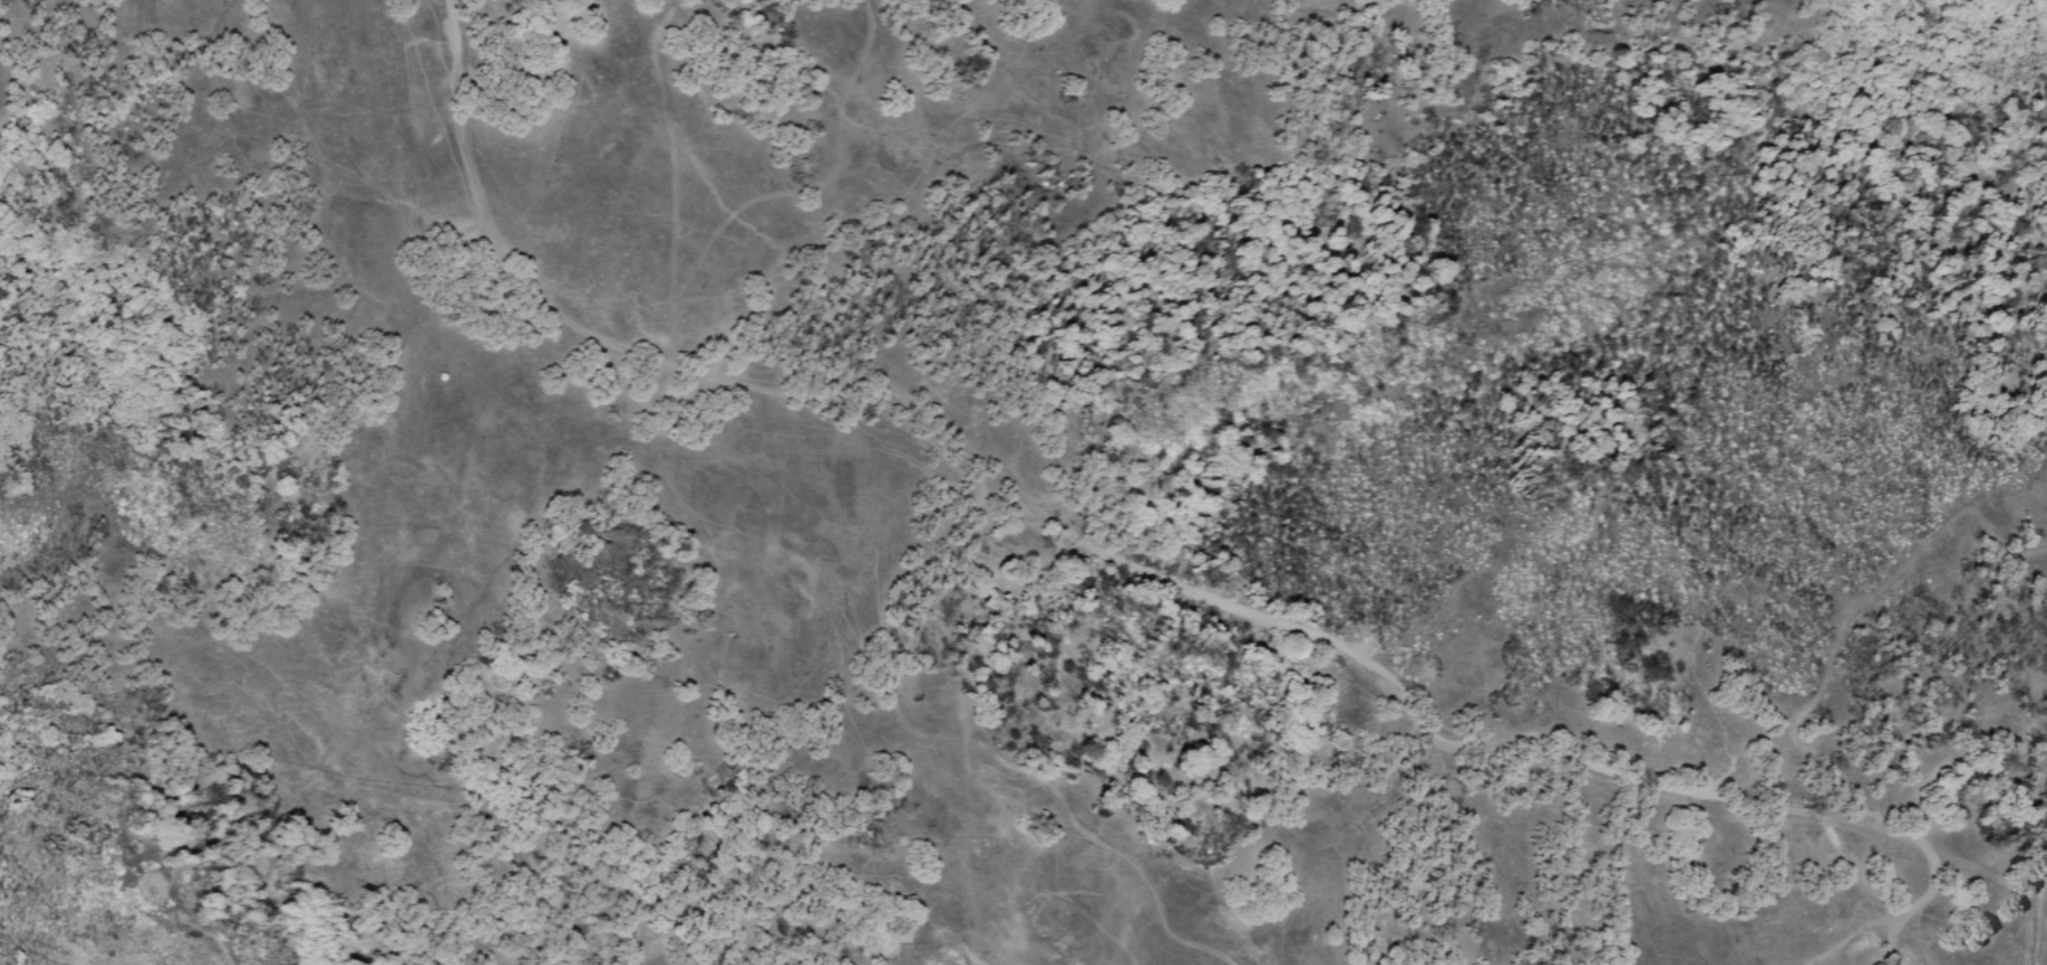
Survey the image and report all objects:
road: (472, 142)
road: (283, 491)
road: (1271, 628)

